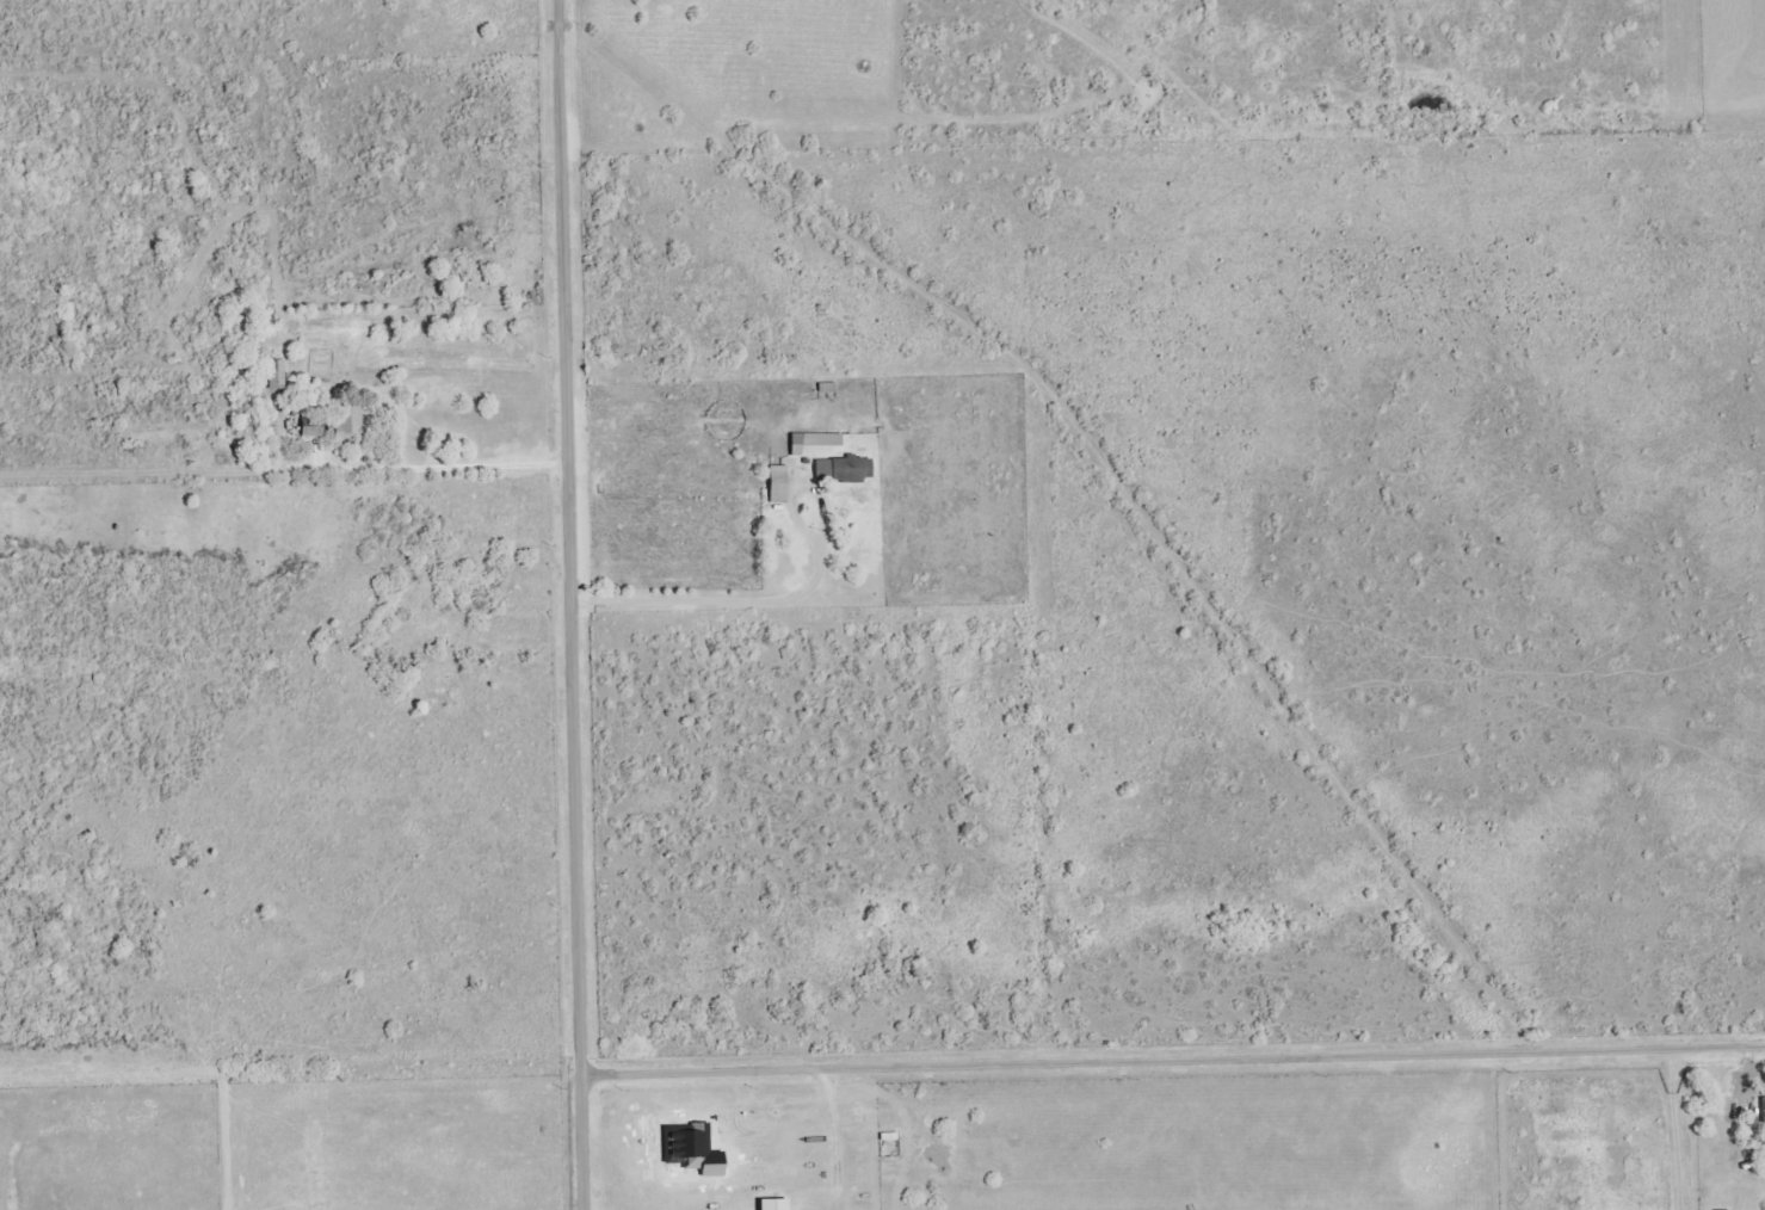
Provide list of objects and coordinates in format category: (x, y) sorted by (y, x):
building: (274, 375)
building: (348, 425)
building: (310, 427)
building: (834, 440)
building: (802, 443)
building: (841, 469)
building: (777, 484)
road: (573, 604)
road: (1173, 1055)
building: (1763, 1111)
building: (772, 1205)

